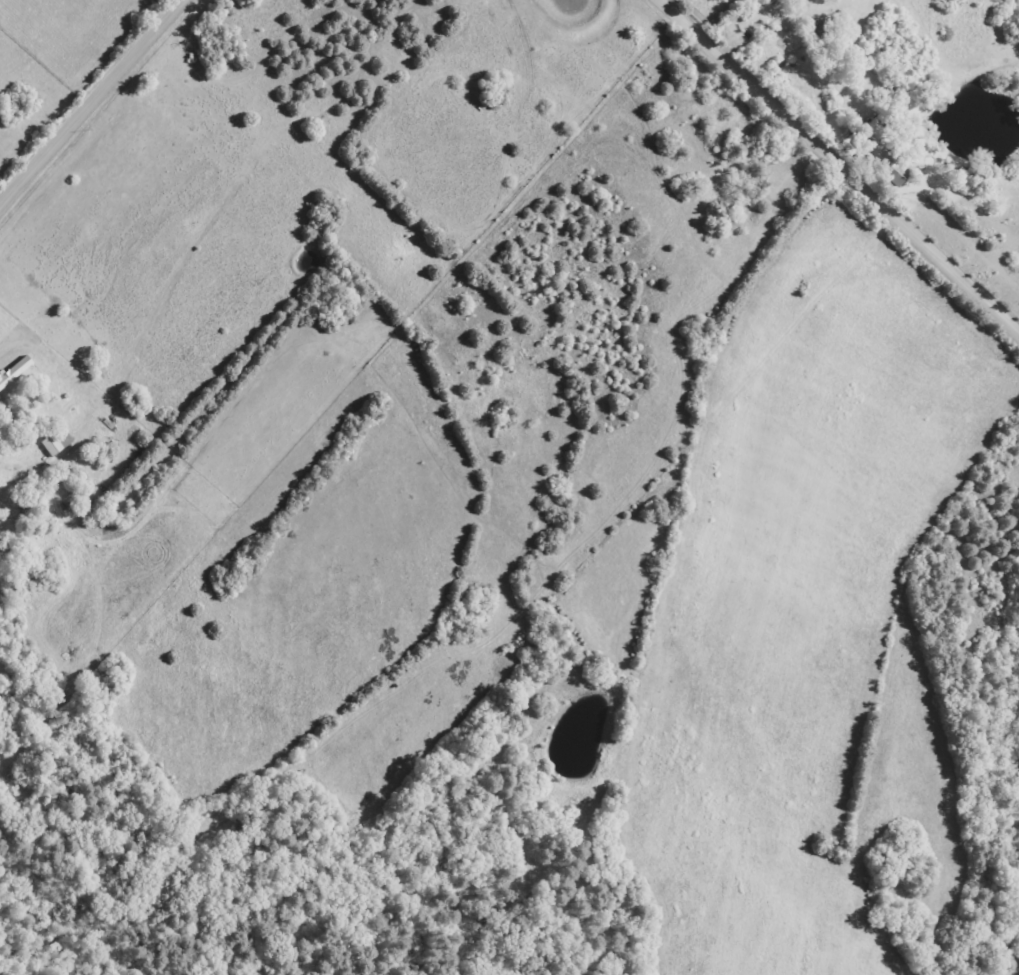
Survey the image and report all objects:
road: (94, 106)
building: (874, 159)
road: (838, 167)
building: (11, 369)
building: (49, 442)

